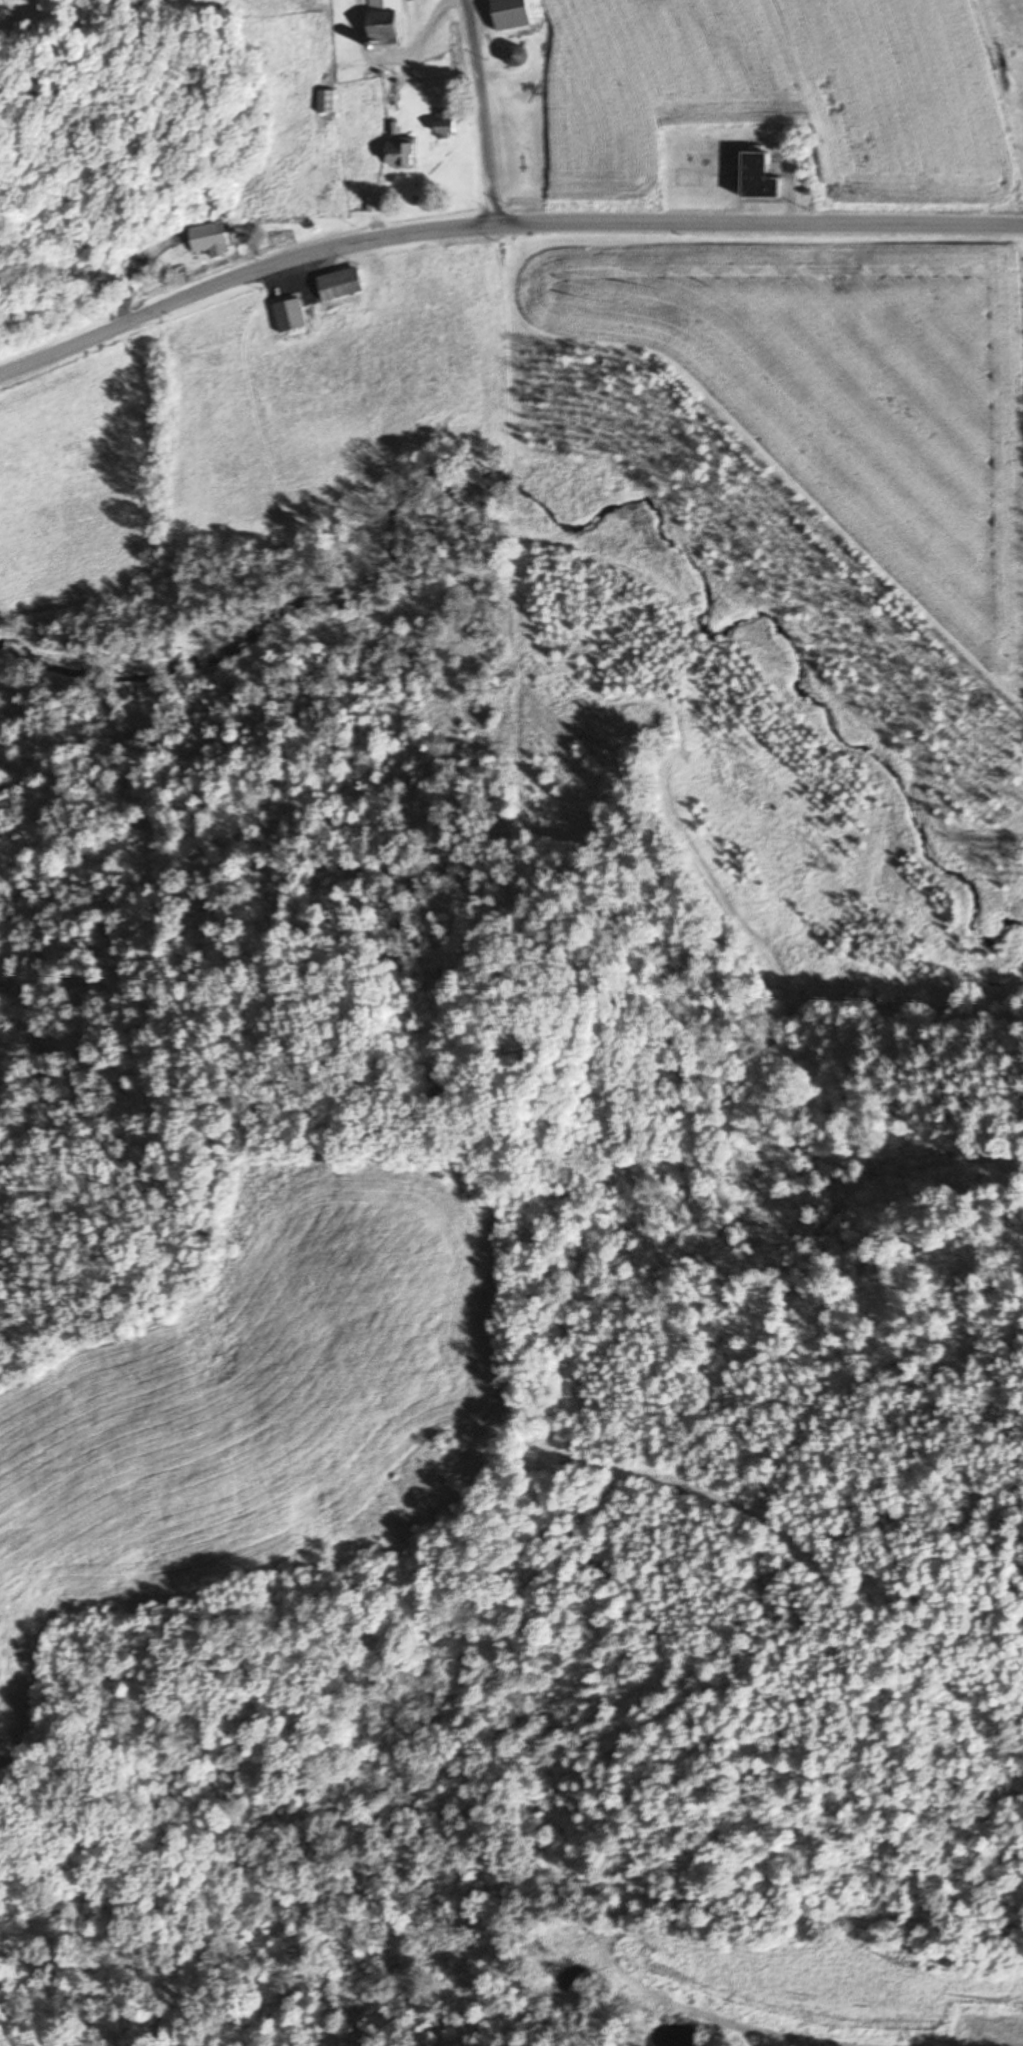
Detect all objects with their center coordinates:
building: (512, 15)
building: (388, 21)
building: (514, 58)
building: (328, 102)
road: (482, 109)
building: (448, 126)
building: (404, 155)
building: (762, 178)
road: (499, 219)
building: (210, 240)
building: (342, 284)
building: (291, 316)

